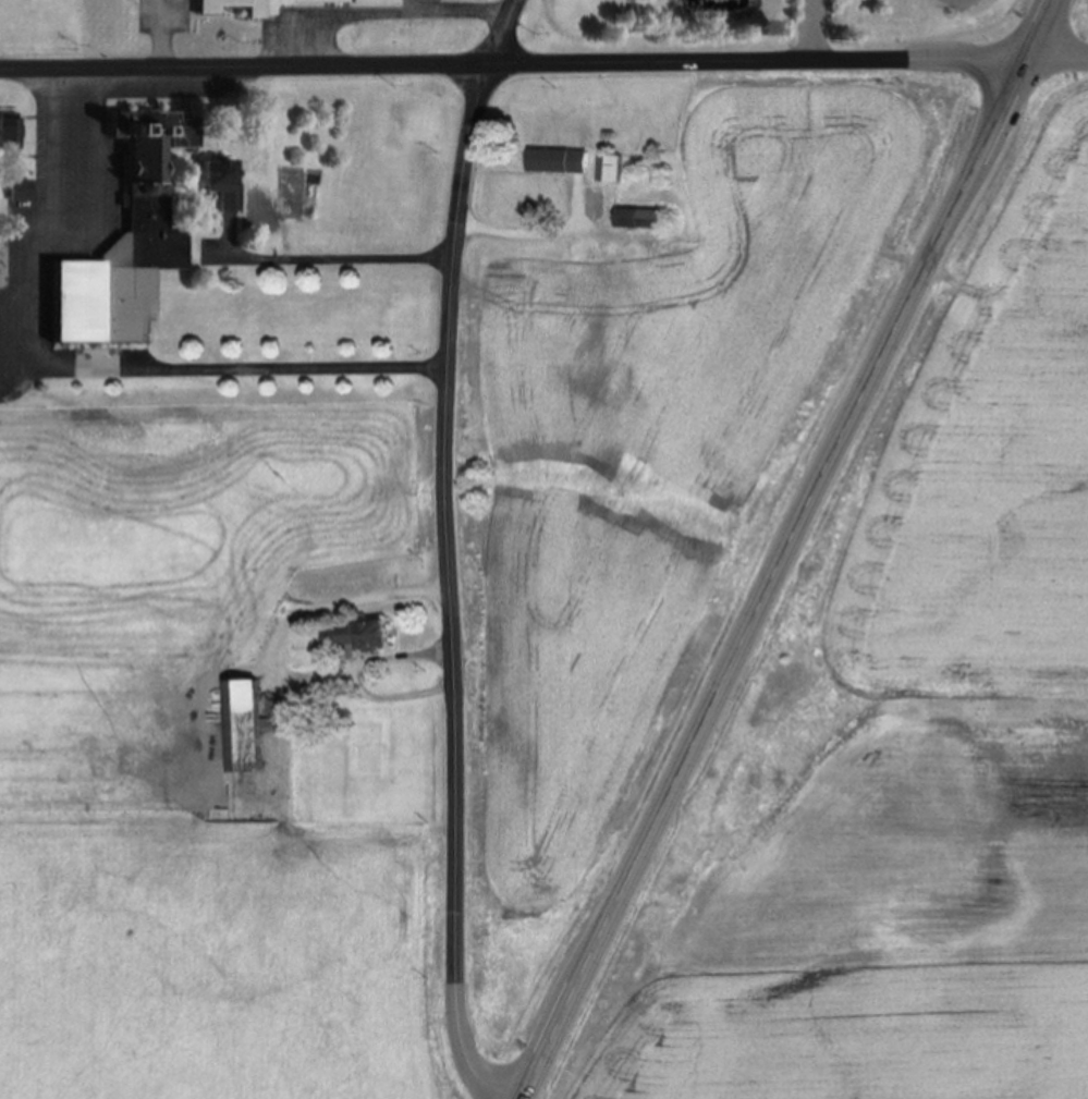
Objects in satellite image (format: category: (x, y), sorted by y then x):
building: (440, 0)
building: (278, 5)
road: (379, 11)
road: (814, 28)
road: (162, 33)
road: (1056, 56)
road: (513, 61)
building: (10, 132)
road: (71, 148)
building: (565, 162)
building: (616, 170)
building: (225, 184)
building: (22, 192)
building: (150, 196)
building: (647, 220)
road: (523, 235)
building: (117, 254)
road: (337, 257)
road: (235, 369)
road: (787, 549)
road: (452, 552)
road: (342, 603)
building: (368, 637)
road: (357, 676)
building: (254, 726)

